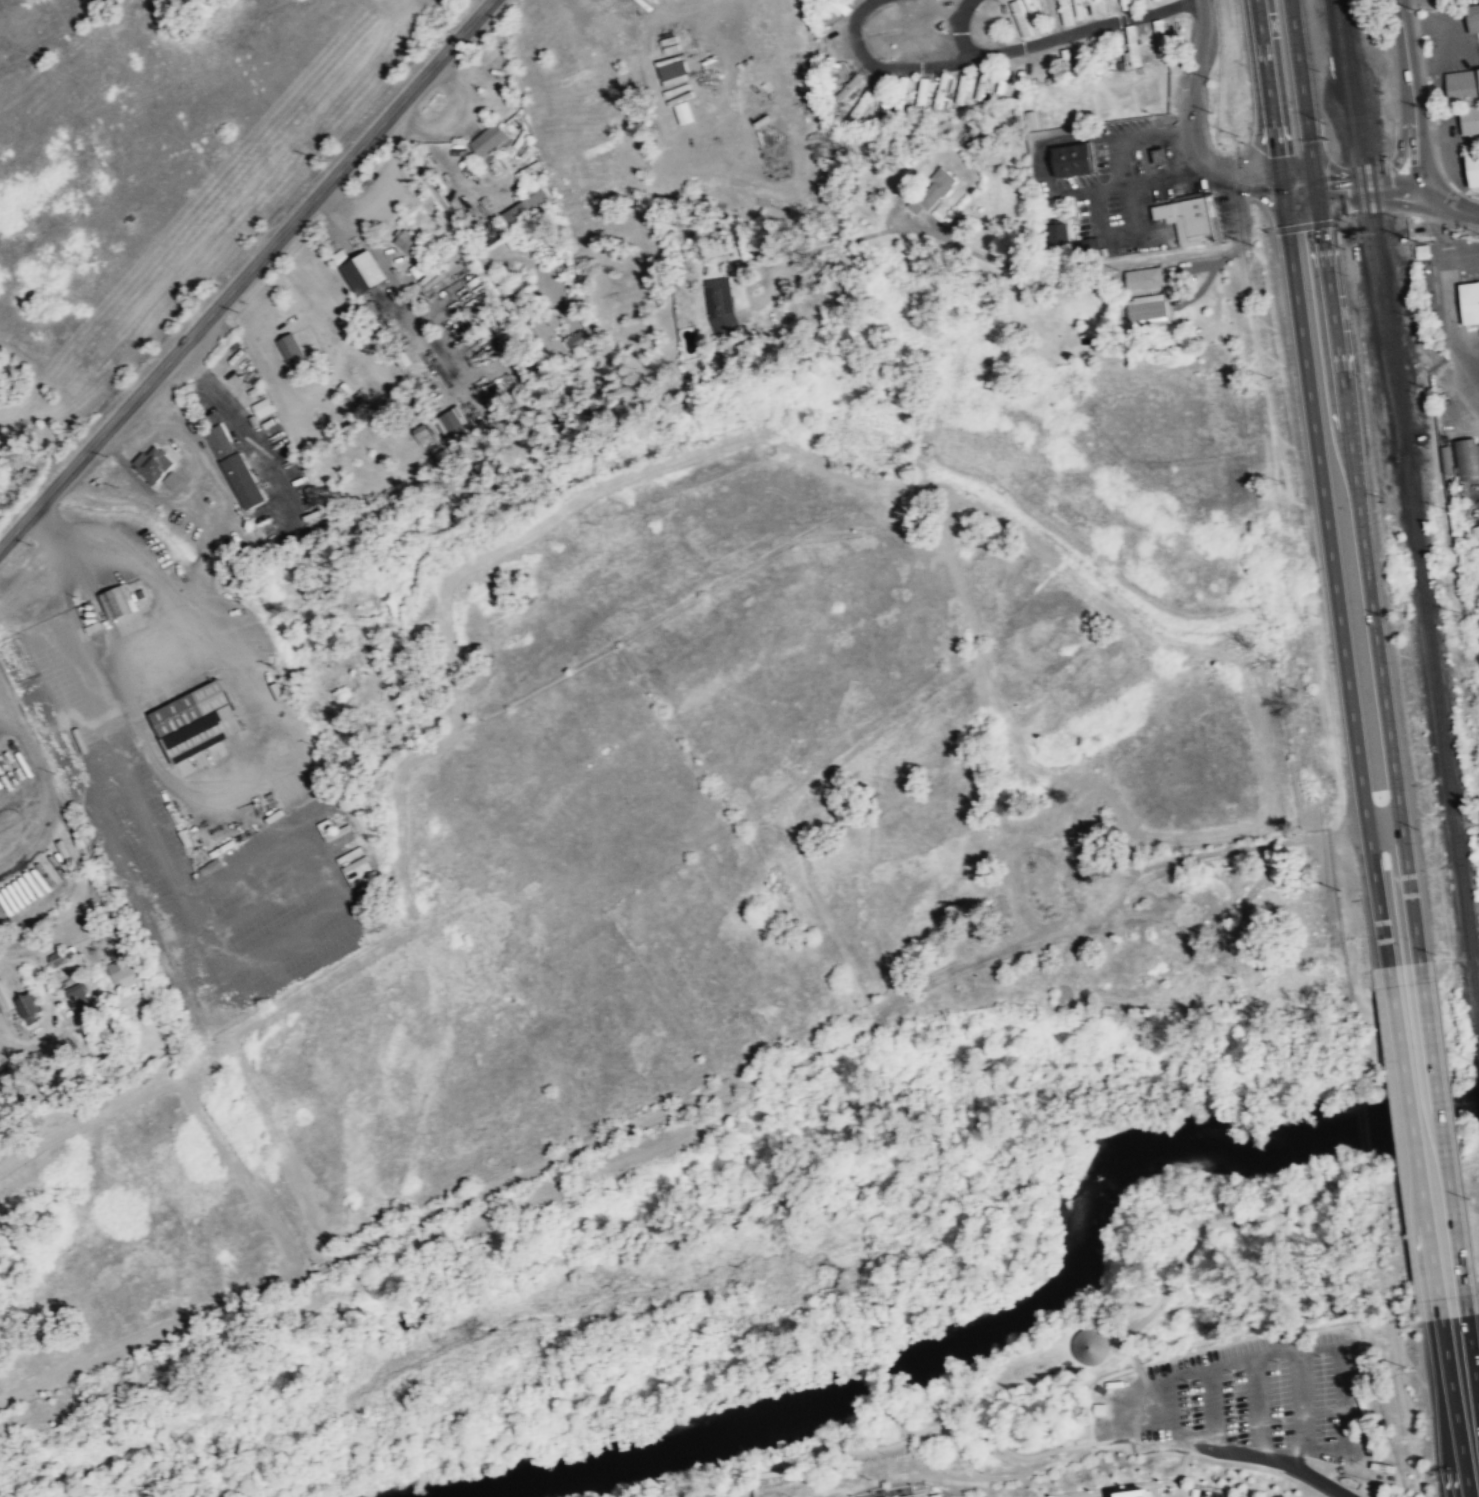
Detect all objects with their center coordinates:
building: (1023, 0)
building: (1126, 4)
building: (1065, 12)
building: (1021, 18)
building: (1473, 19)
road: (1088, 28)
road: (961, 31)
building: (1160, 39)
building: (1133, 47)
road: (886, 68)
building: (673, 71)
building: (982, 83)
building: (851, 86)
building: (965, 87)
building: (943, 89)
building: (1462, 89)
building: (924, 91)
road: (1273, 92)
road: (1303, 94)
road: (1411, 96)
building: (498, 101)
building: (884, 107)
building: (684, 113)
building: (1469, 121)
road: (1188, 129)
road: (1403, 137)
building: (489, 140)
road: (1171, 154)
building: (1160, 155)
gas station: (1160, 155)
building: (1071, 161)
building: (1473, 170)
traffic signals: (1287, 179)
road: (1135, 182)
building: (941, 183)
road: (1302, 186)
road: (1081, 189)
road: (1368, 189)
road: (1449, 204)
road: (450, 207)
building: (527, 208)
building: (1188, 219)
railway: (1366, 226)
road: (1111, 240)
railway: (1390, 240)
building: (406, 241)
building: (513, 241)
building: (360, 270)
road: (246, 274)
building: (1144, 280)
building: (1470, 302)
building: (720, 304)
building: (1147, 310)
building: (553, 335)
building: (292, 350)
building: (262, 407)
building: (453, 422)
building: (424, 433)
building: (1469, 456)
building: (153, 464)
building: (235, 465)
building: (173, 480)
railway: (1411, 499)
road: (1367, 574)
road: (1336, 575)
building: (119, 601)
building: (197, 721)
building: (327, 829)
parking lot: (171, 844)
building: (57, 958)
building: (122, 973)
building: (77, 993)
road: (892, 1005)
building: (26, 1011)
road: (1443, 1137)
road: (1414, 1141)
road: (381, 1236)
river: (1005, 1313)
building: (1090, 1347)
road: (1473, 1359)
parking lot: (1249, 1398)
road: (1455, 1407)
road: (896, 1423)
road: (951, 1424)
road: (1270, 1457)
road: (1233, 1459)
road: (1178, 1484)
road: (1122, 1488)
building: (1134, 1493)

